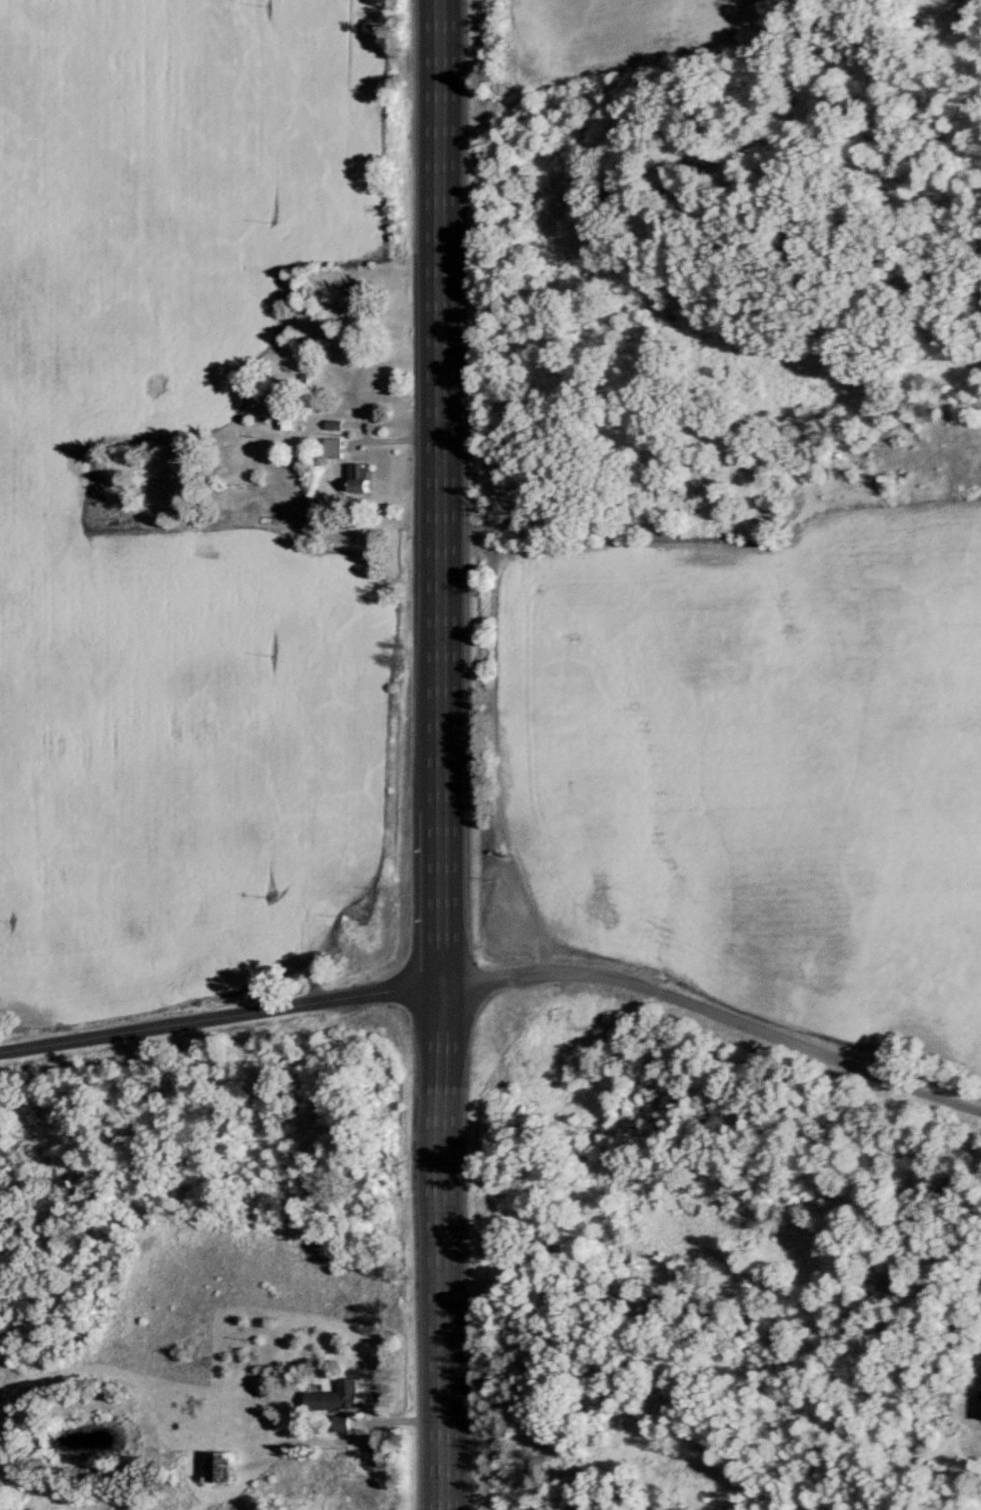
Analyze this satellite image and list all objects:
building: (377, 380)
building: (285, 421)
building: (332, 447)
building: (359, 478)
building: (501, 496)
road: (443, 754)
road: (254, 1013)
road: (747, 1025)
building: (335, 1396)
building: (979, 1404)
building: (219, 1467)

